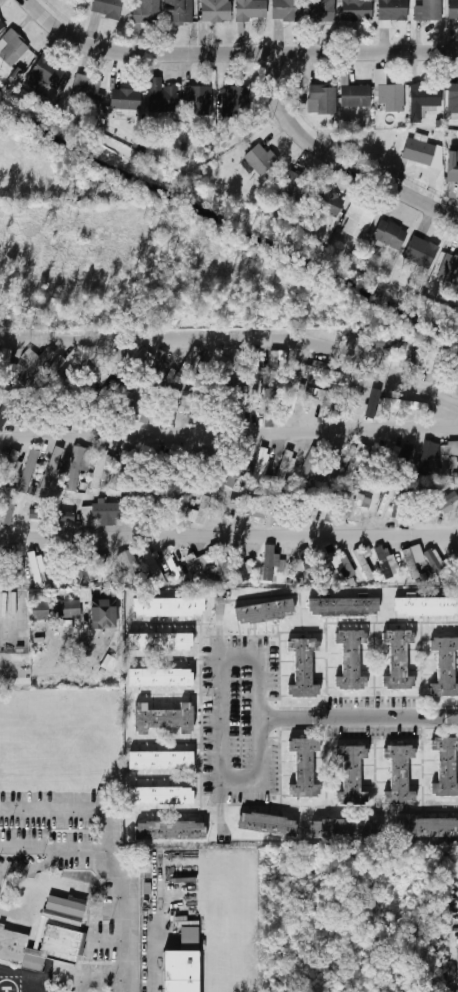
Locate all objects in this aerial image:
building: (108, 8)
building: (287, 9)
building: (252, 10)
building: (324, 10)
building: (357, 10)
building: (393, 10)
building: (429, 10)
building: (453, 10)
building: (180, 11)
building: (216, 11)
building: (147, 12)
building: (2, 25)
building: (13, 48)
road: (234, 55)
building: (46, 73)
building: (88, 91)
building: (453, 92)
building: (163, 96)
building: (357, 97)
building: (392, 97)
building: (200, 99)
building: (126, 100)
building: (323, 100)
building: (424, 100)
building: (235, 101)
building: (419, 151)
building: (261, 159)
road: (340, 159)
building: (453, 169)
building: (294, 187)
building: (328, 203)
river: (225, 217)
building: (358, 221)
building: (390, 234)
building: (421, 251)
building: (451, 268)
road: (235, 336)
building: (384, 343)
building: (0, 354)
building: (415, 358)
building: (34, 359)
building: (145, 359)
building: (218, 359)
building: (57, 365)
building: (276, 365)
building: (5, 366)
building: (32, 367)
building: (188, 367)
building: (235, 367)
building: (328, 374)
building: (322, 396)
building: (373, 403)
building: (405, 405)
building: (77, 407)
building: (242, 407)
building: (192, 411)
building: (266, 411)
building: (6, 413)
building: (142, 413)
road: (229, 432)
building: (390, 448)
building: (415, 456)
building: (449, 459)
building: (357, 460)
building: (331, 462)
building: (13, 464)
building: (285, 464)
building: (79, 465)
building: (105, 465)
building: (53, 467)
building: (261, 467)
building: (122, 470)
building: (29, 471)
building: (233, 477)
building: (445, 501)
building: (250, 505)
building: (357, 506)
building: (201, 510)
building: (108, 512)
building: (7, 513)
building: (37, 513)
building: (328, 514)
building: (456, 514)
building: (63, 516)
road: (228, 534)
building: (453, 557)
building: (411, 558)
building: (307, 560)
building: (365, 560)
building: (385, 561)
building: (337, 562)
building: (269, 563)
building: (436, 564)
building: (221, 565)
building: (101, 566)
building: (130, 566)
building: (154, 566)
building: (197, 566)
building: (37, 568)
building: (83, 568)
building: (245, 569)
building: (19, 572)
building: (61, 574)
building: (344, 607)
building: (426, 607)
building: (169, 608)
building: (56, 609)
building: (265, 612)
building: (105, 614)
building: (65, 626)
road: (85, 639)
building: (161, 642)
building: (350, 660)
building: (399, 661)
road: (223, 662)
building: (109, 663)
building: (445, 667)
building: (303, 669)
road: (37, 673)
building: (161, 678)
road: (359, 717)
building: (163, 718)
building: (162, 760)
building: (446, 765)
building: (304, 767)
building: (352, 774)
building: (399, 774)
building: (162, 796)
road: (52, 809)
building: (268, 824)
building: (428, 828)
building: (347, 829)
building: (171, 831)
road: (52, 846)
road: (36, 869)
road: (121, 899)
building: (66, 905)
building: (37, 937)
building: (58, 948)
building: (182, 971)
road: (99, 979)
street lamp: (113, 990)
helipad: (6, 991)

